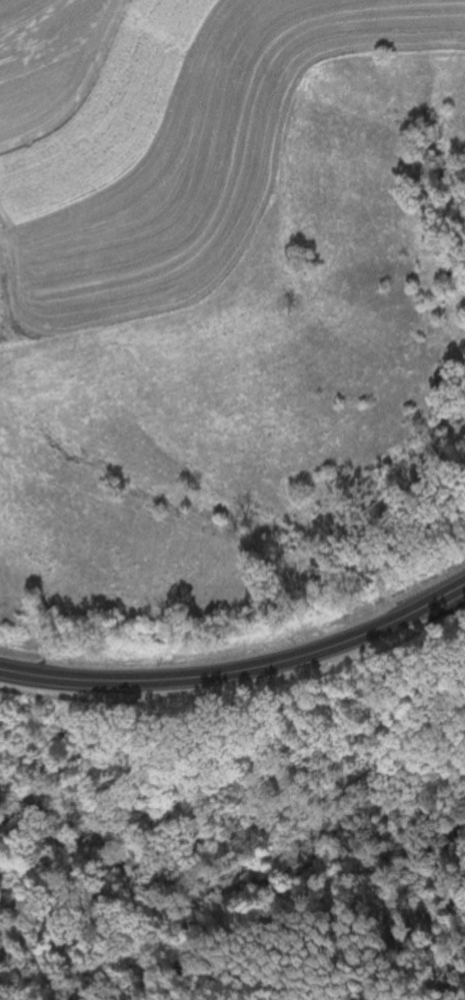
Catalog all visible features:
road: (240, 666)

